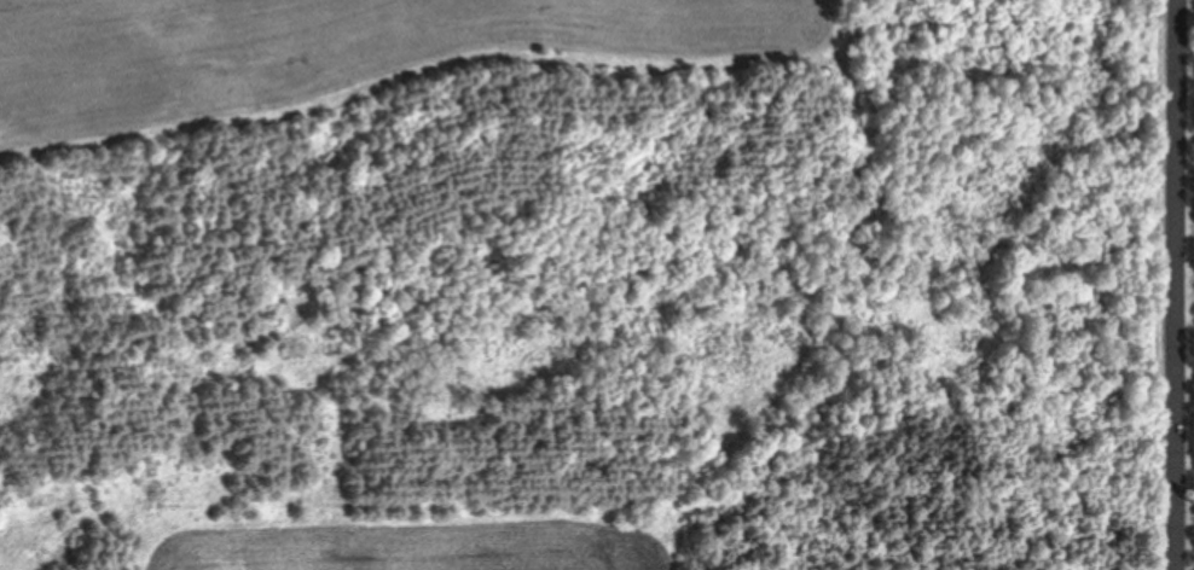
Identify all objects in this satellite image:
road: (1173, 284)

